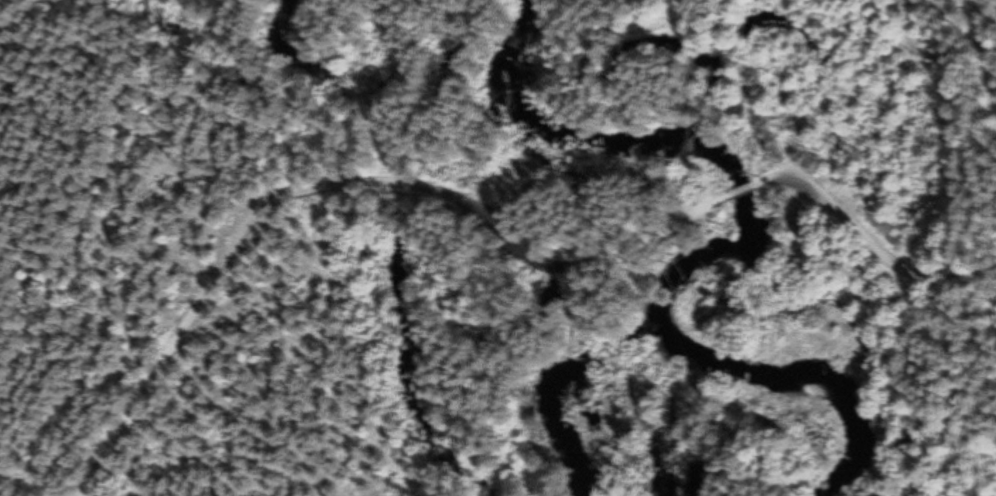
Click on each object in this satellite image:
road: (441, 212)

